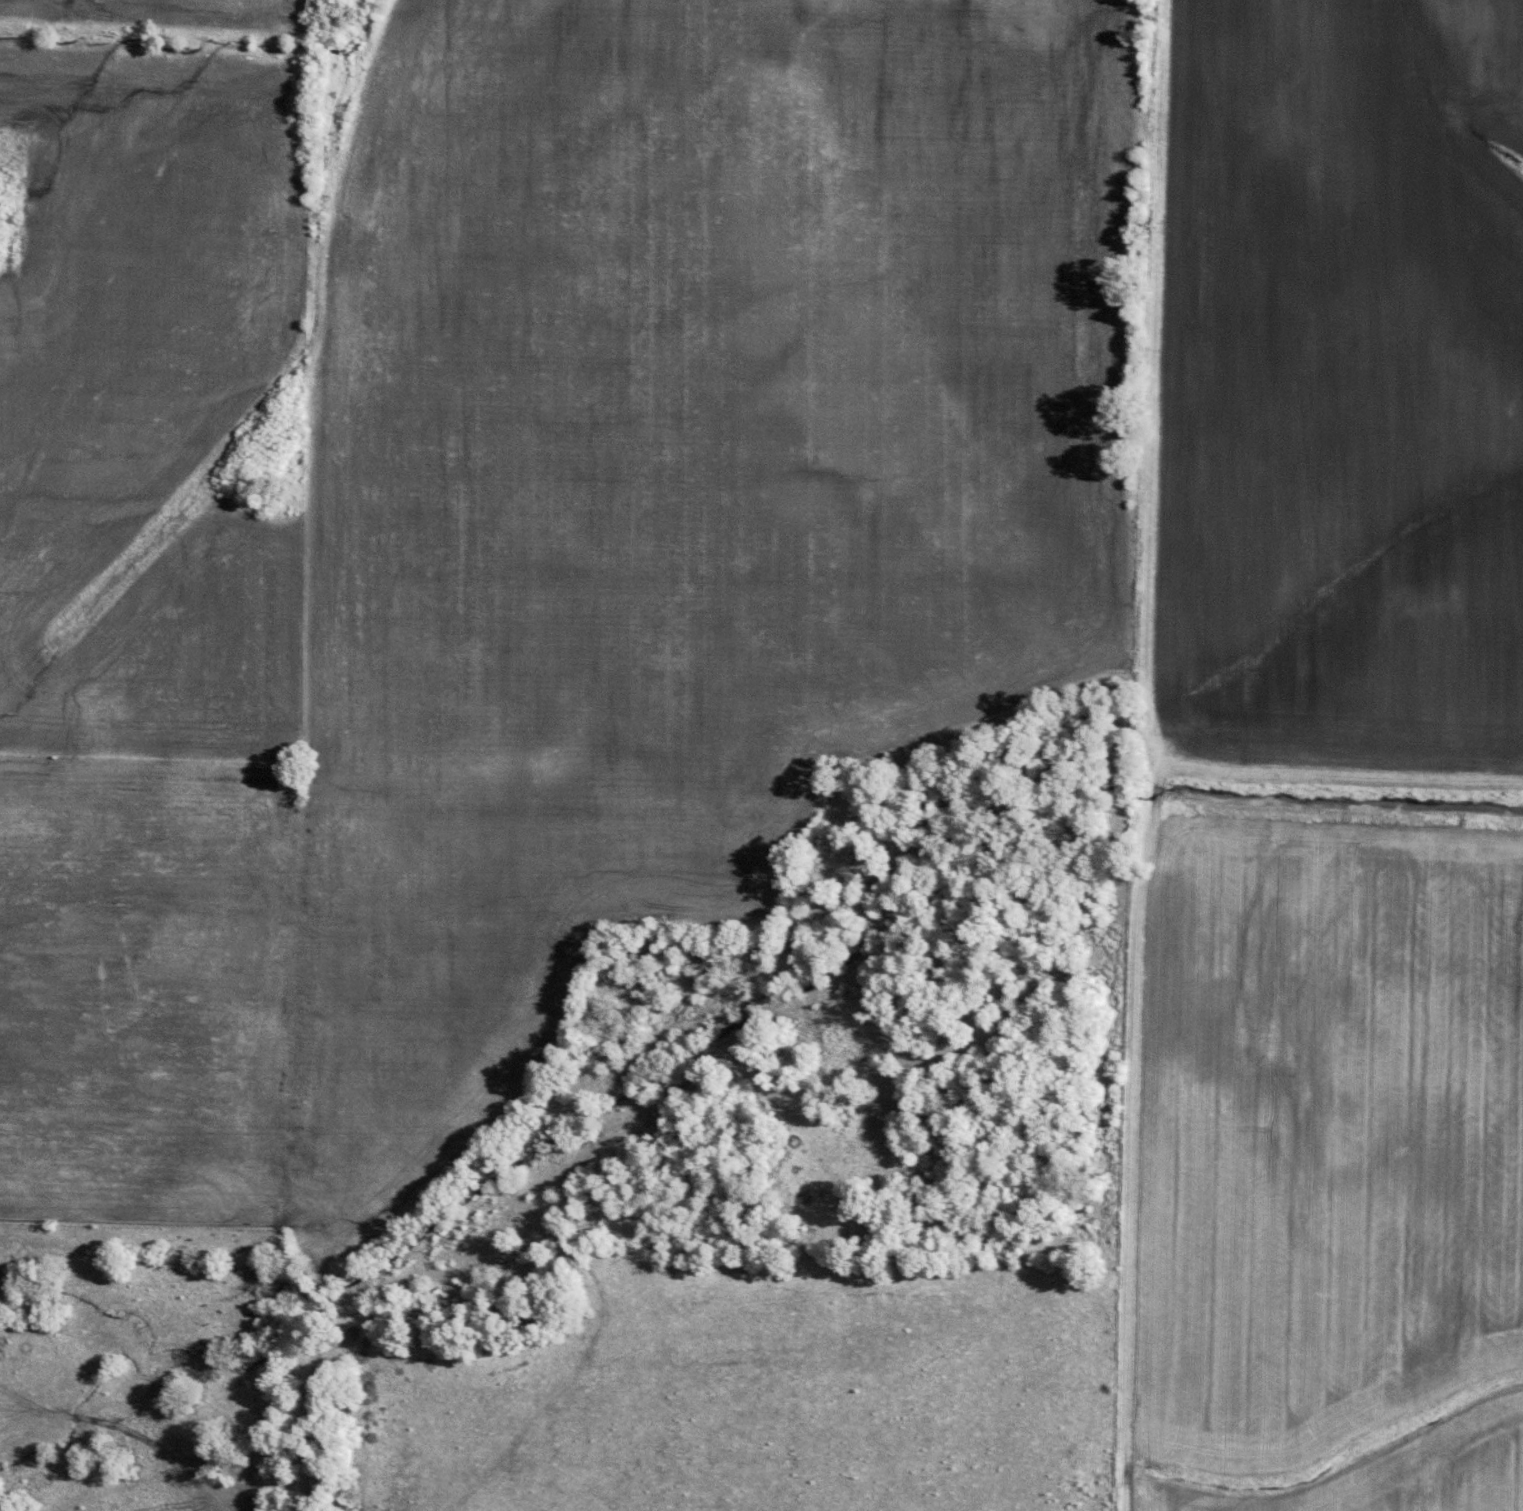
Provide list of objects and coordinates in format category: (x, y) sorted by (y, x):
road: (1130, 1195)

